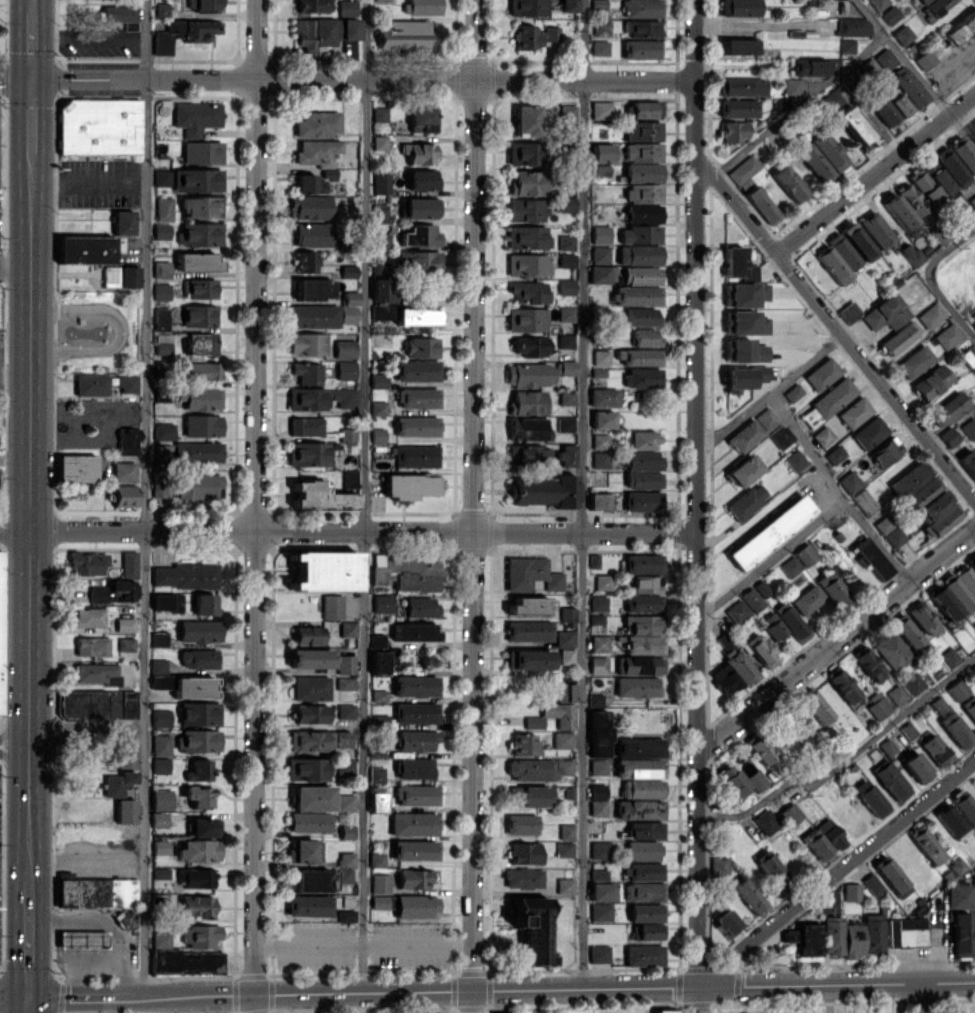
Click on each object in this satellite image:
building: (922, 1)
building: (878, 3)
building: (598, 4)
building: (203, 5)
building: (313, 5)
building: (569, 5)
road: (32, 6)
building: (935, 6)
building: (347, 7)
building: (422, 7)
building: (739, 7)
building: (528, 8)
building: (642, 8)
building: (161, 9)
building: (890, 14)
building: (121, 15)
building: (852, 26)
building: (601, 27)
building: (347, 28)
building: (642, 28)
building: (961, 28)
building: (199, 30)
building: (313, 33)
building: (551, 33)
building: (902, 34)
building: (407, 35)
building: (525, 36)
building: (166, 37)
road: (32, 45)
building: (846, 45)
building: (739, 46)
building: (600, 47)
building: (641, 49)
building: (884, 58)
building: (924, 59)
building: (809, 67)
road: (916, 72)
traffic signals: (32, 79)
road: (347, 80)
building: (741, 86)
building: (909, 86)
building: (791, 87)
building: (831, 99)
road: (799, 105)
building: (899, 105)
building: (737, 108)
building: (601, 109)
building: (645, 109)
building: (883, 111)
building: (379, 113)
building: (568, 113)
road: (32, 116)
building: (196, 117)
building: (421, 119)
building: (526, 120)
building: (317, 124)
building: (99, 126)
building: (855, 127)
building: (642, 131)
building: (733, 131)
building: (379, 142)
building: (827, 150)
building: (642, 151)
building: (202, 152)
building: (317, 152)
building: (602, 152)
building: (419, 153)
building: (524, 153)
building: (962, 153)
building: (814, 162)
building: (952, 166)
building: (743, 169)
building: (600, 170)
building: (642, 172)
road: (875, 172)
building: (936, 176)
building: (162, 177)
building: (422, 179)
building: (197, 180)
road: (89, 181)
building: (528, 182)
building: (309, 183)
building: (381, 183)
building: (789, 183)
building: (923, 185)
building: (643, 193)
building: (911, 199)
building: (564, 203)
road: (735, 204)
building: (762, 204)
building: (201, 206)
building: (311, 206)
building: (418, 207)
building: (164, 208)
building: (526, 210)
building: (380, 213)
building: (643, 213)
building: (899, 213)
building: (123, 222)
building: (876, 229)
building: (161, 231)
building: (200, 234)
building: (312, 234)
building: (600, 234)
building: (639, 234)
building: (420, 235)
building: (527, 237)
building: (381, 240)
building: (856, 241)
building: (566, 242)
building: (85, 249)
building: (843, 251)
building: (600, 254)
building: (638, 254)
building: (915, 259)
building: (566, 260)
building: (197, 261)
building: (306, 261)
building: (419, 262)
building: (527, 264)
building: (738, 264)
building: (832, 264)
building: (379, 268)
road: (16, 269)
building: (161, 269)
building: (349, 271)
building: (601, 274)
building: (641, 275)
building: (120, 276)
road: (929, 280)
building: (566, 286)
building: (199, 288)
building: (314, 288)
building: (382, 289)
building: (161, 291)
building: (529, 292)
building: (744, 294)
building: (637, 295)
building: (350, 297)
building: (383, 311)
building: (848, 312)
building: (885, 313)
building: (348, 314)
building: (566, 314)
building: (199, 315)
building: (930, 315)
building: (313, 316)
building: (417, 316)
building: (639, 316)
building: (161, 319)
building: (526, 319)
building: (744, 322)
building: (973, 326)
building: (947, 335)
building: (645, 337)
building: (898, 337)
building: (565, 340)
building: (200, 343)
building: (163, 344)
building: (307, 344)
building: (531, 346)
building: (421, 347)
building: (345, 349)
building: (743, 350)
building: (638, 356)
building: (600, 357)
building: (914, 362)
building: (566, 367)
building: (161, 368)
building: (345, 370)
building: (417, 370)
building: (204, 371)
building: (973, 371)
building: (305, 372)
building: (822, 373)
building: (530, 374)
road: (875, 375)
building: (642, 377)
building: (742, 377)
building: (378, 380)
building: (930, 381)
building: (128, 383)
building: (91, 384)
building: (792, 392)
road: (769, 394)
building: (199, 397)
building: (418, 397)
building: (603, 397)
building: (833, 397)
building: (320, 398)
building: (566, 398)
building: (527, 402)
building: (378, 408)
building: (946, 408)
building: (853, 412)
building: (603, 419)
road: (951, 420)
building: (565, 424)
building: (202, 425)
building: (306, 426)
building: (416, 426)
building: (969, 428)
building: (527, 429)
building: (752, 430)
building: (164, 431)
building: (869, 432)
building: (347, 434)
building: (377, 435)
building: (822, 435)
building: (781, 437)
building: (948, 437)
building: (642, 439)
building: (128, 441)
building: (600, 441)
building: (885, 451)
building: (163, 452)
building: (198, 452)
building: (308, 453)
building: (834, 454)
building: (527, 455)
building: (566, 455)
building: (415, 456)
building: (600, 459)
building: (641, 459)
building: (795, 460)
building: (967, 462)
building: (76, 468)
building: (742, 470)
building: (123, 471)
building: (349, 478)
building: (910, 478)
building: (643, 479)
building: (849, 482)
building: (194, 485)
building: (409, 485)
building: (545, 491)
building: (922, 491)
road: (583, 493)
building: (124, 495)
building: (320, 495)
road: (366, 496)
road: (146, 497)
building: (598, 501)
building: (642, 501)
building: (746, 501)
building: (864, 501)
road: (256, 506)
road: (475, 506)
road: (695, 506)
road: (31, 513)
building: (938, 513)
road: (821, 518)
road: (15, 530)
road: (363, 532)
building: (769, 532)
building: (894, 536)
road: (878, 539)
building: (805, 554)
building: (871, 559)
building: (594, 560)
building: (971, 562)
building: (87, 563)
building: (643, 563)
building: (129, 564)
building: (790, 566)
building: (324, 570)
building: (407, 572)
building: (530, 574)
building: (185, 575)
building: (966, 579)
building: (602, 582)
building: (646, 584)
building: (831, 588)
building: (113, 591)
building: (956, 591)
building: (752, 599)
building: (807, 599)
building: (162, 601)
building: (942, 601)
building: (204, 603)
building: (383, 603)
building: (598, 603)
building: (642, 603)
building: (528, 605)
building: (332, 606)
building: (420, 607)
building: (737, 611)
building: (567, 614)
building: (88, 617)
building: (923, 618)
building: (790, 621)
building: (125, 624)
building: (640, 624)
building: (773, 625)
building: (348, 629)
building: (0, 630)
building: (528, 630)
building: (199, 631)
building: (413, 631)
building: (908, 633)
building: (308, 635)
building: (565, 638)
road: (837, 638)
building: (159, 639)
building: (377, 640)
building: (599, 643)
building: (126, 644)
building: (643, 644)
building: (91, 646)
building: (760, 650)
building: (891, 650)
building: (566, 656)
building: (949, 657)
building: (198, 658)
building: (310, 658)
building: (529, 659)
building: (378, 661)
building: (867, 662)
building: (346, 664)
building: (158, 665)
building: (598, 665)
building: (639, 665)
building: (738, 666)
building: (96, 673)
building: (724, 679)
building: (345, 683)
building: (841, 683)
building: (912, 683)
building: (185, 685)
building: (415, 685)
building: (636, 686)
building: (311, 687)
building: (957, 689)
building: (564, 692)
building: (896, 694)
building: (379, 695)
building: (595, 700)
building: (98, 704)
building: (815, 705)
building: (877, 706)
building: (969, 707)
building: (346, 711)
building: (199, 713)
building: (310, 713)
building: (416, 713)
building: (553, 716)
building: (161, 718)
building: (380, 720)
road: (15, 729)
building: (955, 729)
building: (597, 733)
building: (341, 738)
building: (198, 740)
building: (416, 740)
building: (562, 740)
building: (309, 741)
building: (161, 744)
building: (524, 744)
building: (639, 747)
building: (887, 747)
building: (759, 748)
building: (935, 750)
building: (125, 755)
road: (15, 758)
road: (841, 764)
building: (160, 765)
building: (345, 766)
building: (563, 766)
building: (597, 766)
building: (414, 767)
building: (916, 767)
building: (307, 768)
building: (639, 768)
building: (530, 769)
building: (199, 770)
building: (376, 774)
building: (757, 779)
building: (890, 779)
building: (733, 780)
building: (119, 782)
building: (641, 788)
building: (597, 790)
building: (417, 795)
building: (199, 796)
building: (530, 796)
building: (312, 798)
building: (376, 798)
building: (871, 798)
building: (161, 799)
building: (346, 802)
building: (964, 806)
building: (597, 807)
building: (638, 809)
building: (126, 810)
building: (790, 813)
building: (159, 820)
building: (309, 821)
building: (765, 821)
building: (950, 821)
building: (414, 823)
building: (521, 824)
building: (205, 827)
building: (645, 830)
building: (346, 831)
building: (566, 831)
building: (830, 834)
building: (926, 844)
building: (818, 846)
building: (160, 847)
building: (564, 849)
building: (198, 850)
building: (414, 850)
building: (599, 850)
building: (642, 850)
building: (301, 851)
building: (523, 853)
building: (346, 859)
building: (376, 859)
building: (718, 865)
building: (770, 867)
building: (644, 871)
building: (160, 873)
road: (837, 873)
building: (598, 874)
building: (346, 875)
building: (891, 876)
building: (195, 877)
building: (522, 877)
building: (414, 878)
building: (311, 880)
building: (380, 883)
building: (871, 884)
building: (564, 886)
building: (601, 891)
building: (643, 891)
building: (94, 892)
building: (851, 892)
building: (748, 895)
building: (959, 896)
building: (379, 901)
building: (196, 905)
building: (416, 905)
building: (309, 906)
building: (600, 912)
building: (645, 912)
building: (346, 915)
building: (123, 920)
building: (726, 922)
building: (532, 929)
building: (647, 931)
building: (905, 932)
building: (873, 933)
building: (832, 934)
road: (30, 935)
building: (199, 935)
building: (960, 935)
building: (803, 938)
building: (82, 939)
building: (161, 939)
building: (852, 939)
road: (364, 943)
building: (598, 953)
building: (643, 955)
building: (186, 961)
road: (502, 989)
road: (923, 997)
road: (15, 998)
traffic signals: (30, 998)
road: (144, 1004)
road: (30, 1005)
road: (83, 1005)
road: (110, 1005)
building: (663, 1011)
building: (502, 1012)

